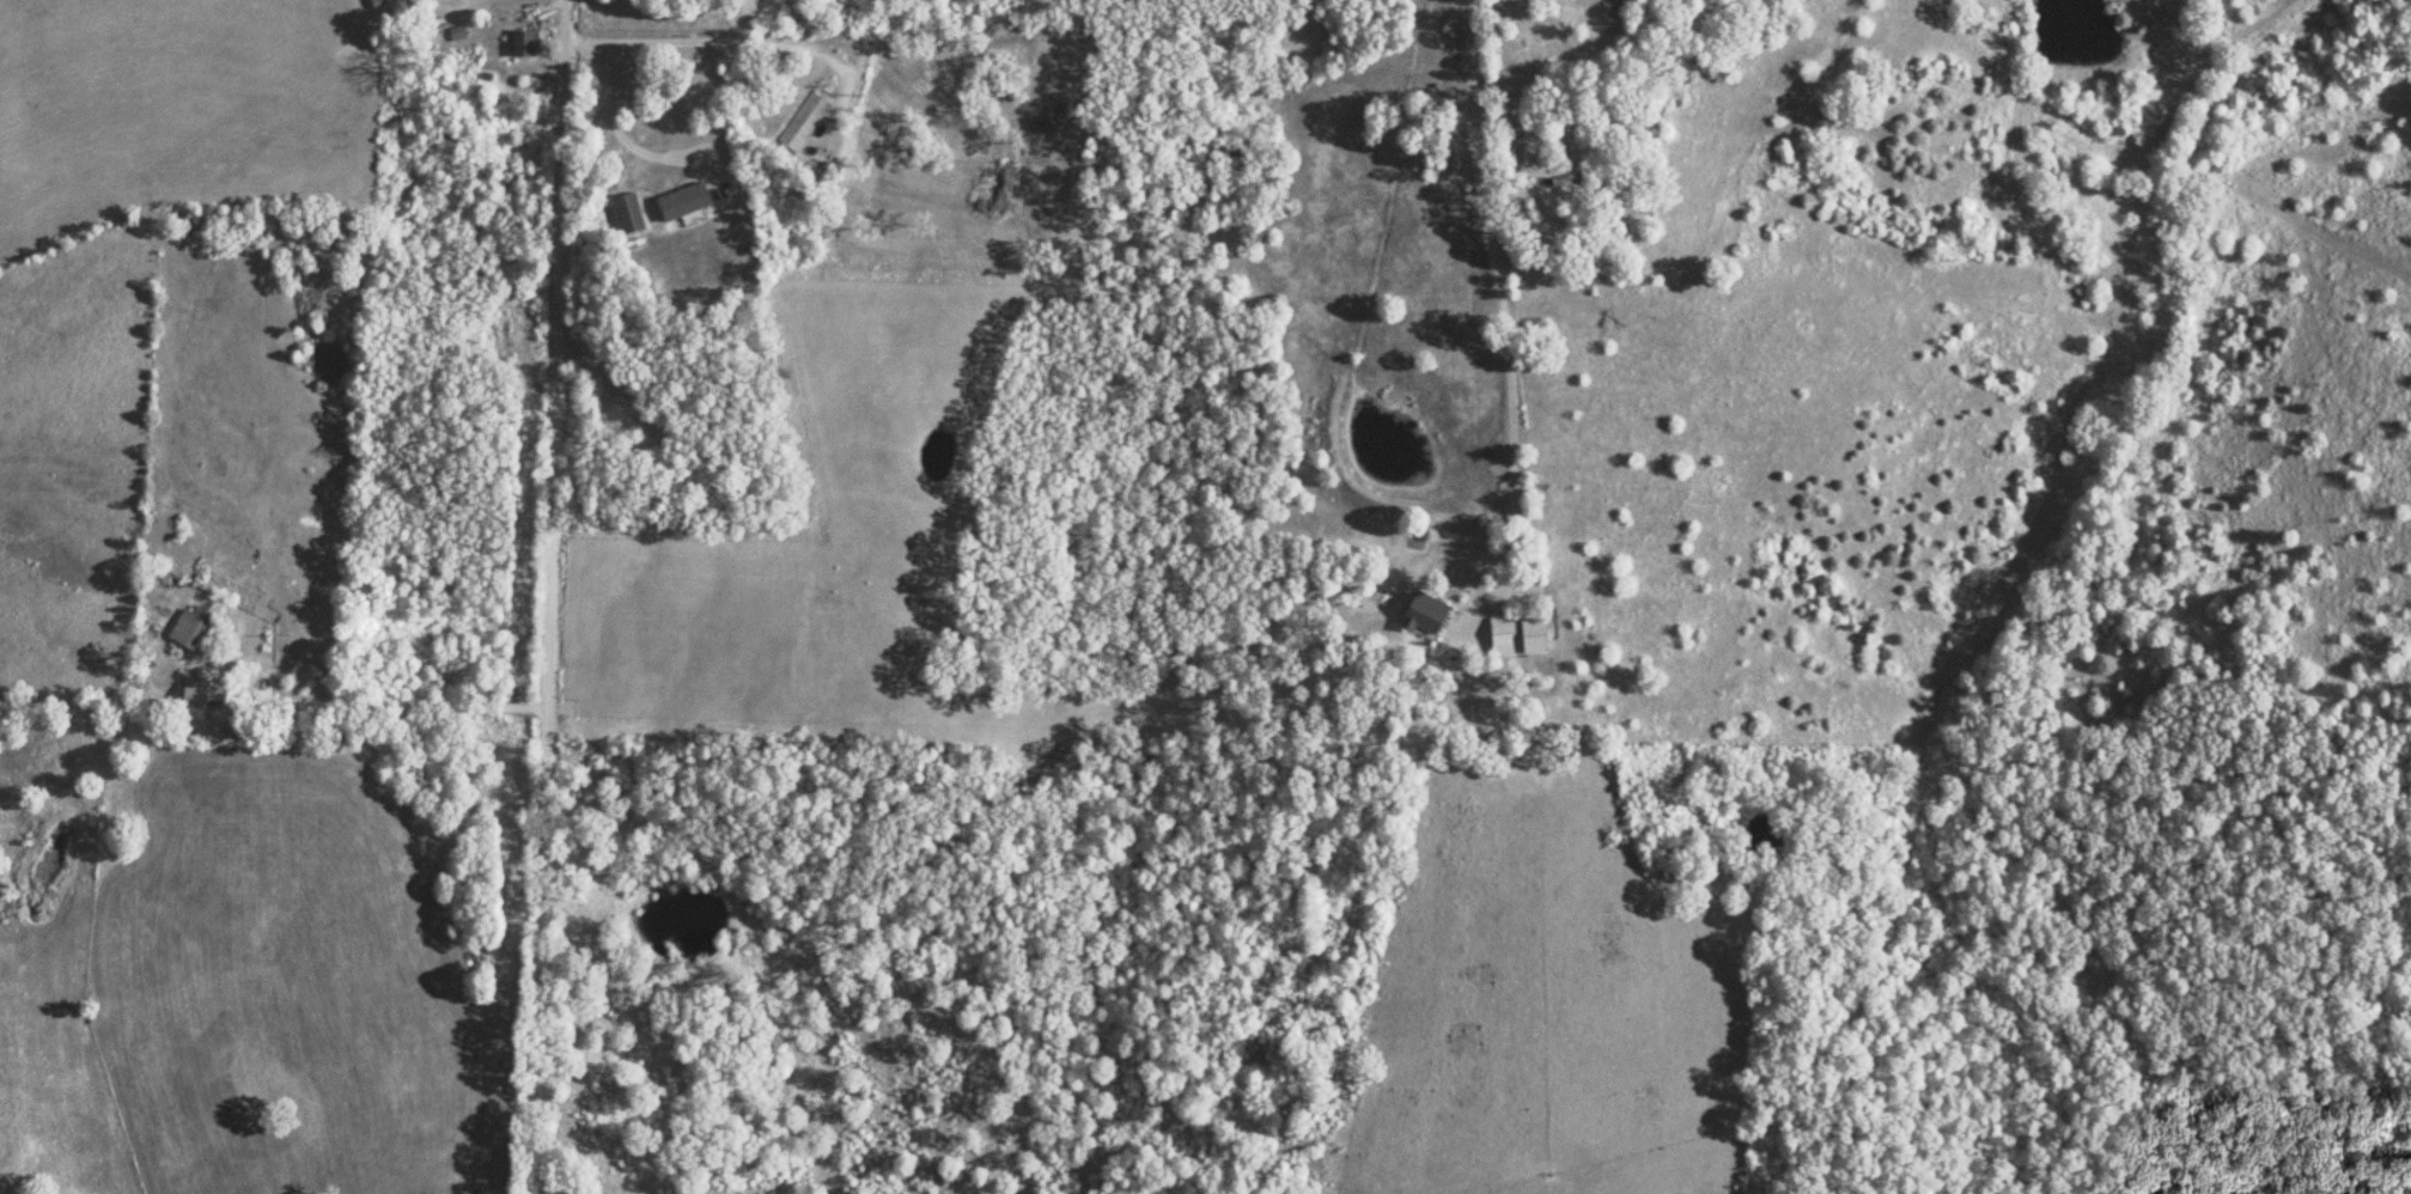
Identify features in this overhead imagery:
building: (379, 2)
building: (457, 33)
building: (523, 43)
building: (803, 122)
building: (681, 201)
building: (628, 213)
road: (1497, 292)
road: (549, 597)
building: (1421, 614)
building: (189, 627)
building: (1515, 636)
road: (361, 702)

